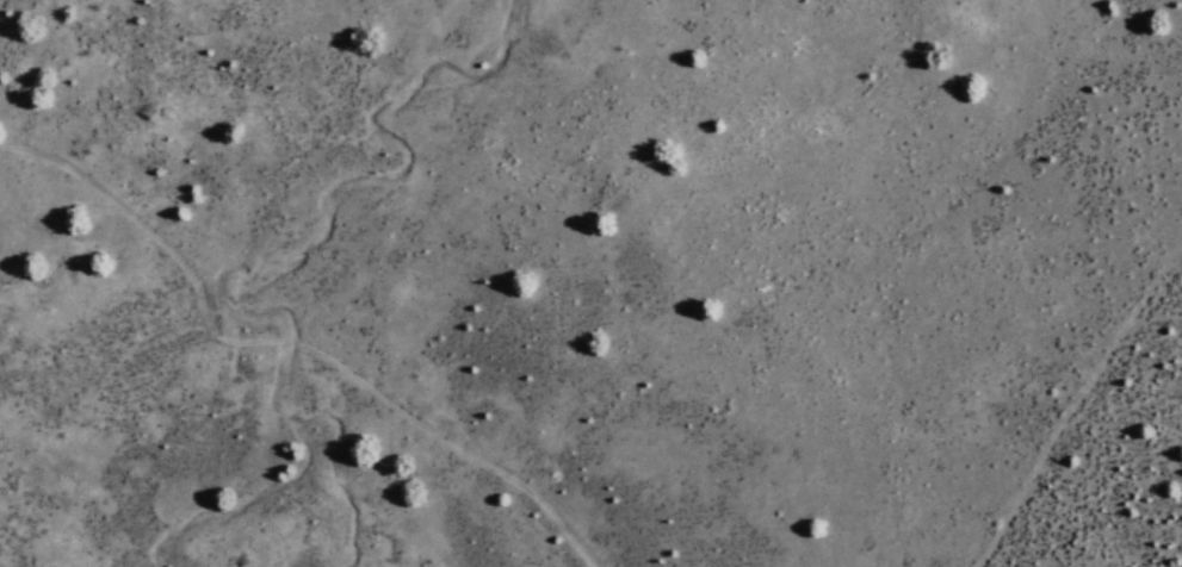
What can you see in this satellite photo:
road: (292, 343)

